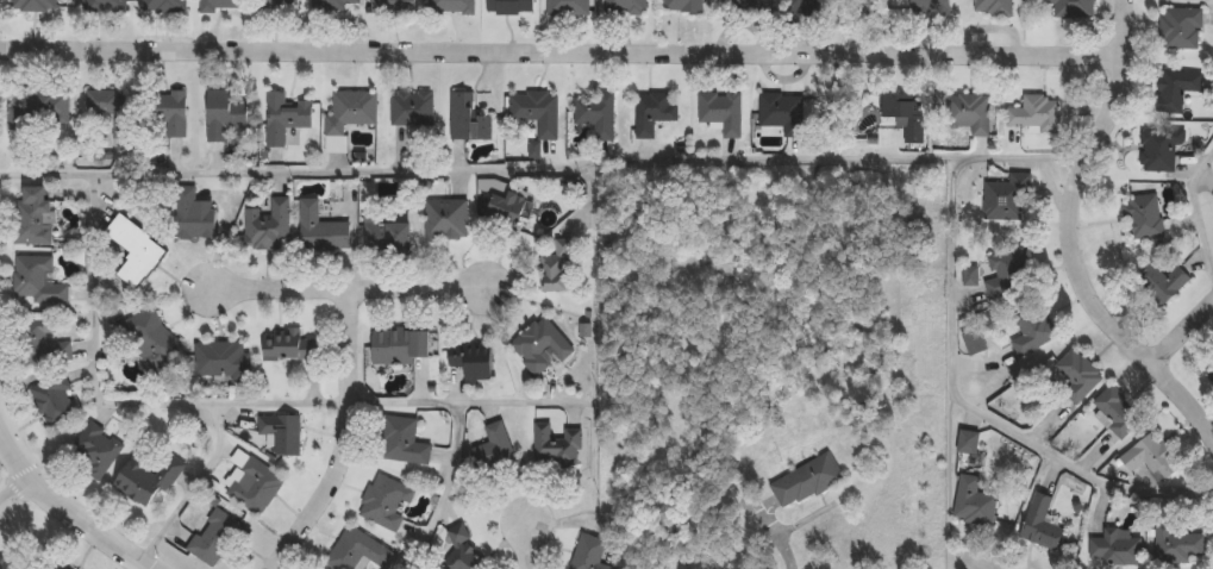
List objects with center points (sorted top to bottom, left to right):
building: (739, 4)
building: (33, 5)
building: (219, 5)
building: (330, 5)
building: (451, 5)
building: (104, 6)
building: (164, 6)
building: (277, 6)
building: (392, 6)
building: (508, 6)
building: (681, 6)
building: (795, 6)
building: (928, 6)
building: (567, 7)
building: (624, 7)
building: (992, 7)
building: (1070, 8)
building: (1180, 29)
road: (562, 55)
building: (1175, 88)
building: (38, 106)
building: (411, 108)
building: (111, 110)
building: (536, 111)
building: (720, 112)
building: (780, 112)
building: (169, 113)
building: (594, 113)
building: (652, 113)
building: (1033, 113)
building: (223, 114)
building: (970, 114)
building: (348, 115)
building: (283, 117)
building: (465, 118)
building: (911, 123)
building: (1159, 149)
road: (587, 167)
building: (1007, 196)
road: (1195, 205)
building: (506, 210)
building: (192, 214)
building: (31, 217)
building: (1143, 217)
building: (445, 219)
building: (267, 225)
building: (319, 229)
road: (1075, 235)
building: (387, 236)
building: (135, 250)
building: (556, 267)
building: (1006, 274)
building: (969, 275)
building: (36, 280)
building: (1158, 283)
road: (349, 287)
building: (1032, 330)
road: (1183, 330)
building: (149, 338)
building: (43, 342)
building: (974, 342)
building: (289, 345)
building: (398, 345)
building: (539, 345)
building: (221, 358)
building: (471, 361)
building: (1212, 364)
building: (1211, 376)
building: (1073, 377)
building: (55, 400)
road: (117, 407)
road: (969, 411)
building: (1115, 412)
road: (458, 424)
building: (281, 432)
road: (345, 438)
building: (401, 440)
building: (967, 442)
building: (555, 445)
building: (494, 449)
building: (95, 450)
building: (1150, 457)
building: (146, 479)
building: (805, 481)
building: (251, 483)
road: (950, 484)
road: (192, 488)
road: (15, 492)
building: (384, 500)
building: (973, 502)
road: (67, 509)
building: (1039, 523)
road: (57, 524)
building: (214, 536)
road: (531, 545)
building: (1177, 545)
building: (1114, 548)
building: (357, 550)
building: (461, 552)
building: (587, 552)
road: (978, 559)
building: (8, 563)
building: (62, 565)

